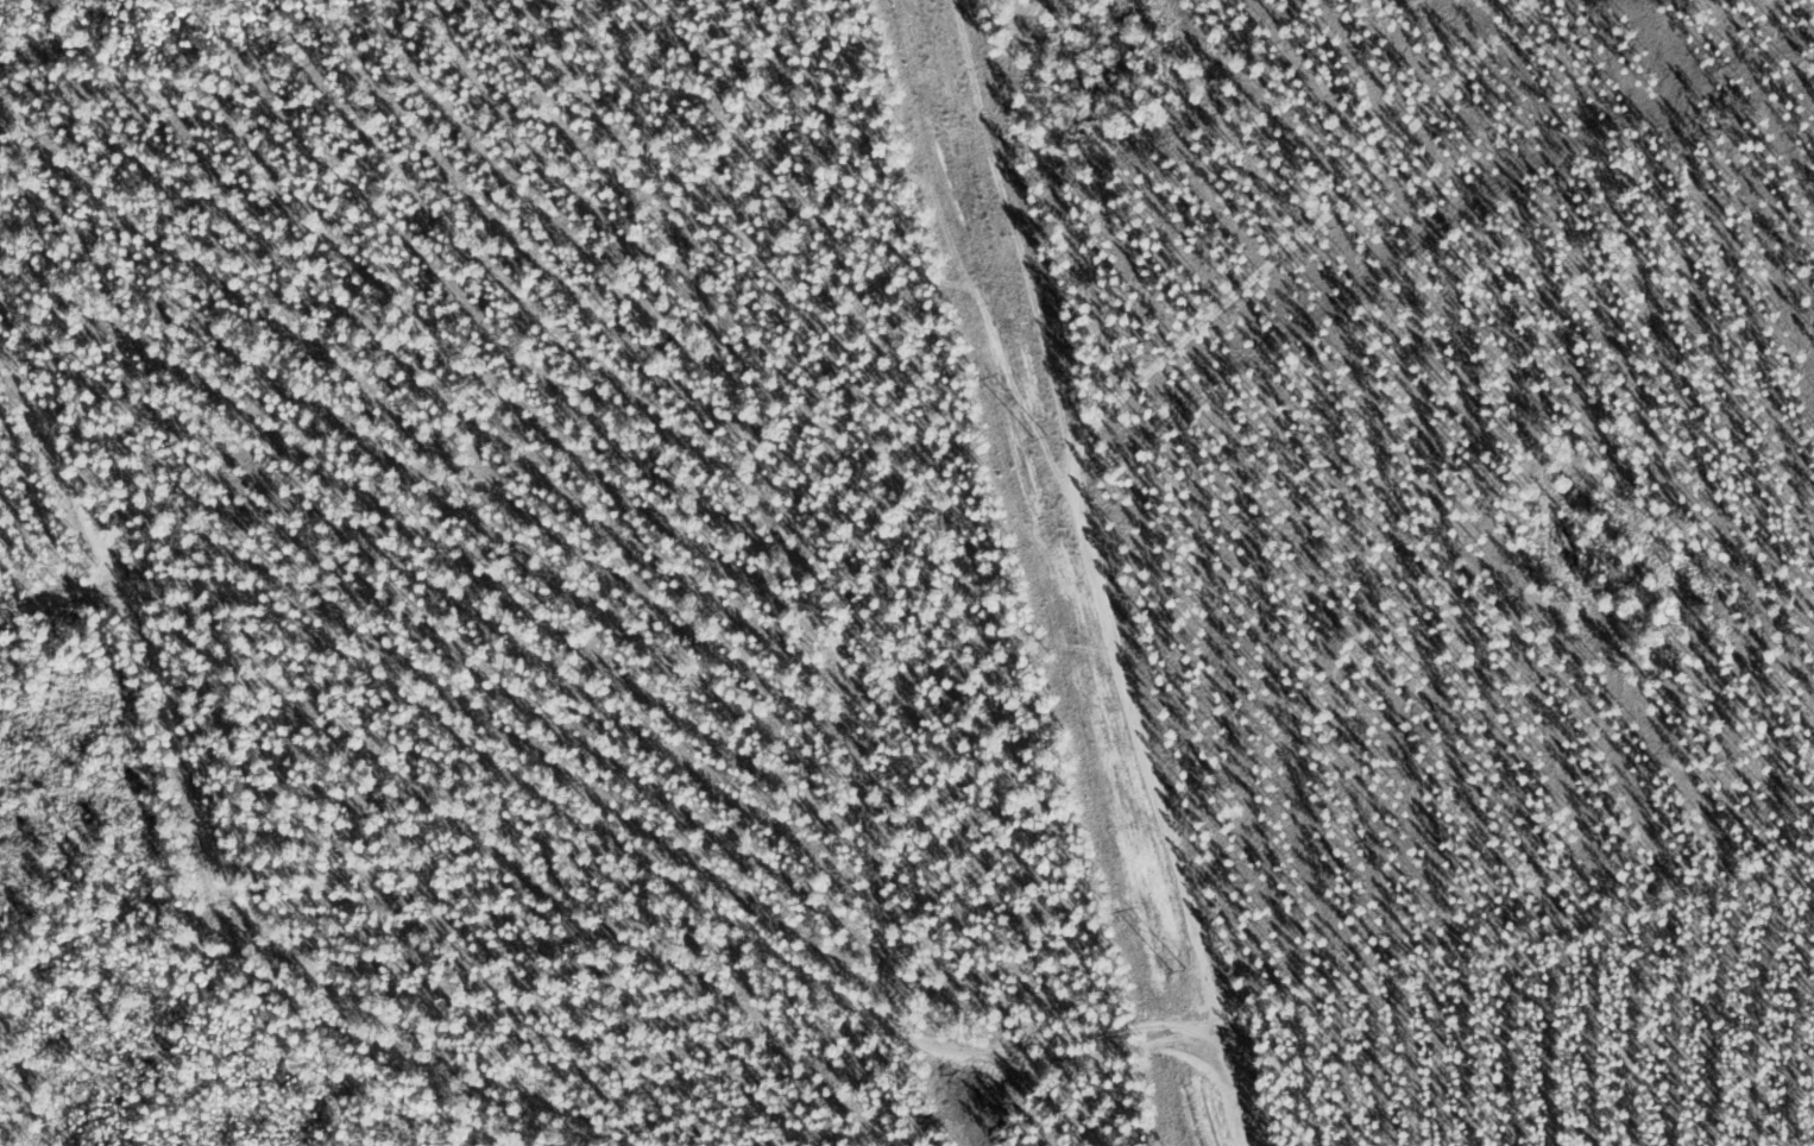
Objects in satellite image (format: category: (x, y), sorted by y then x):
power tower: (1041, 440)
road: (127, 654)
power tower: (1185, 976)
road: (692, 1019)
road: (571, 1104)

